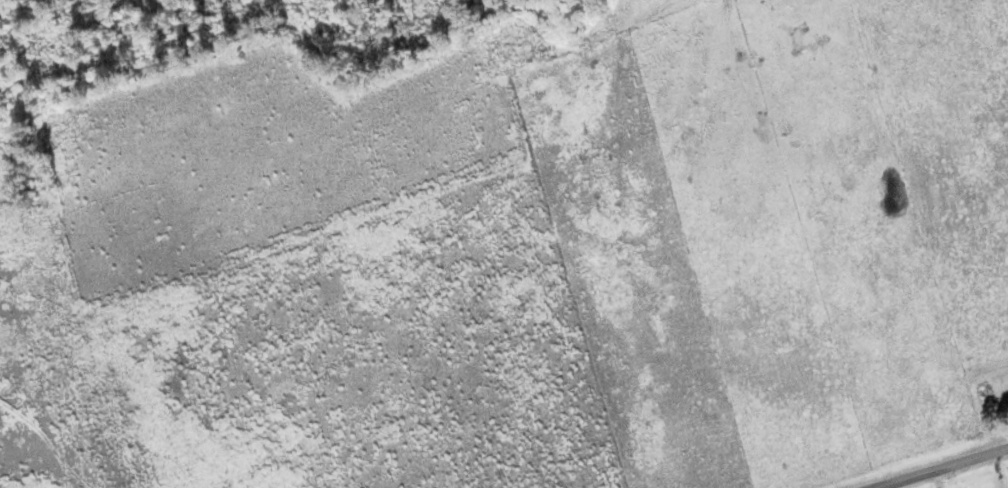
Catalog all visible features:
road: (943, 468)

